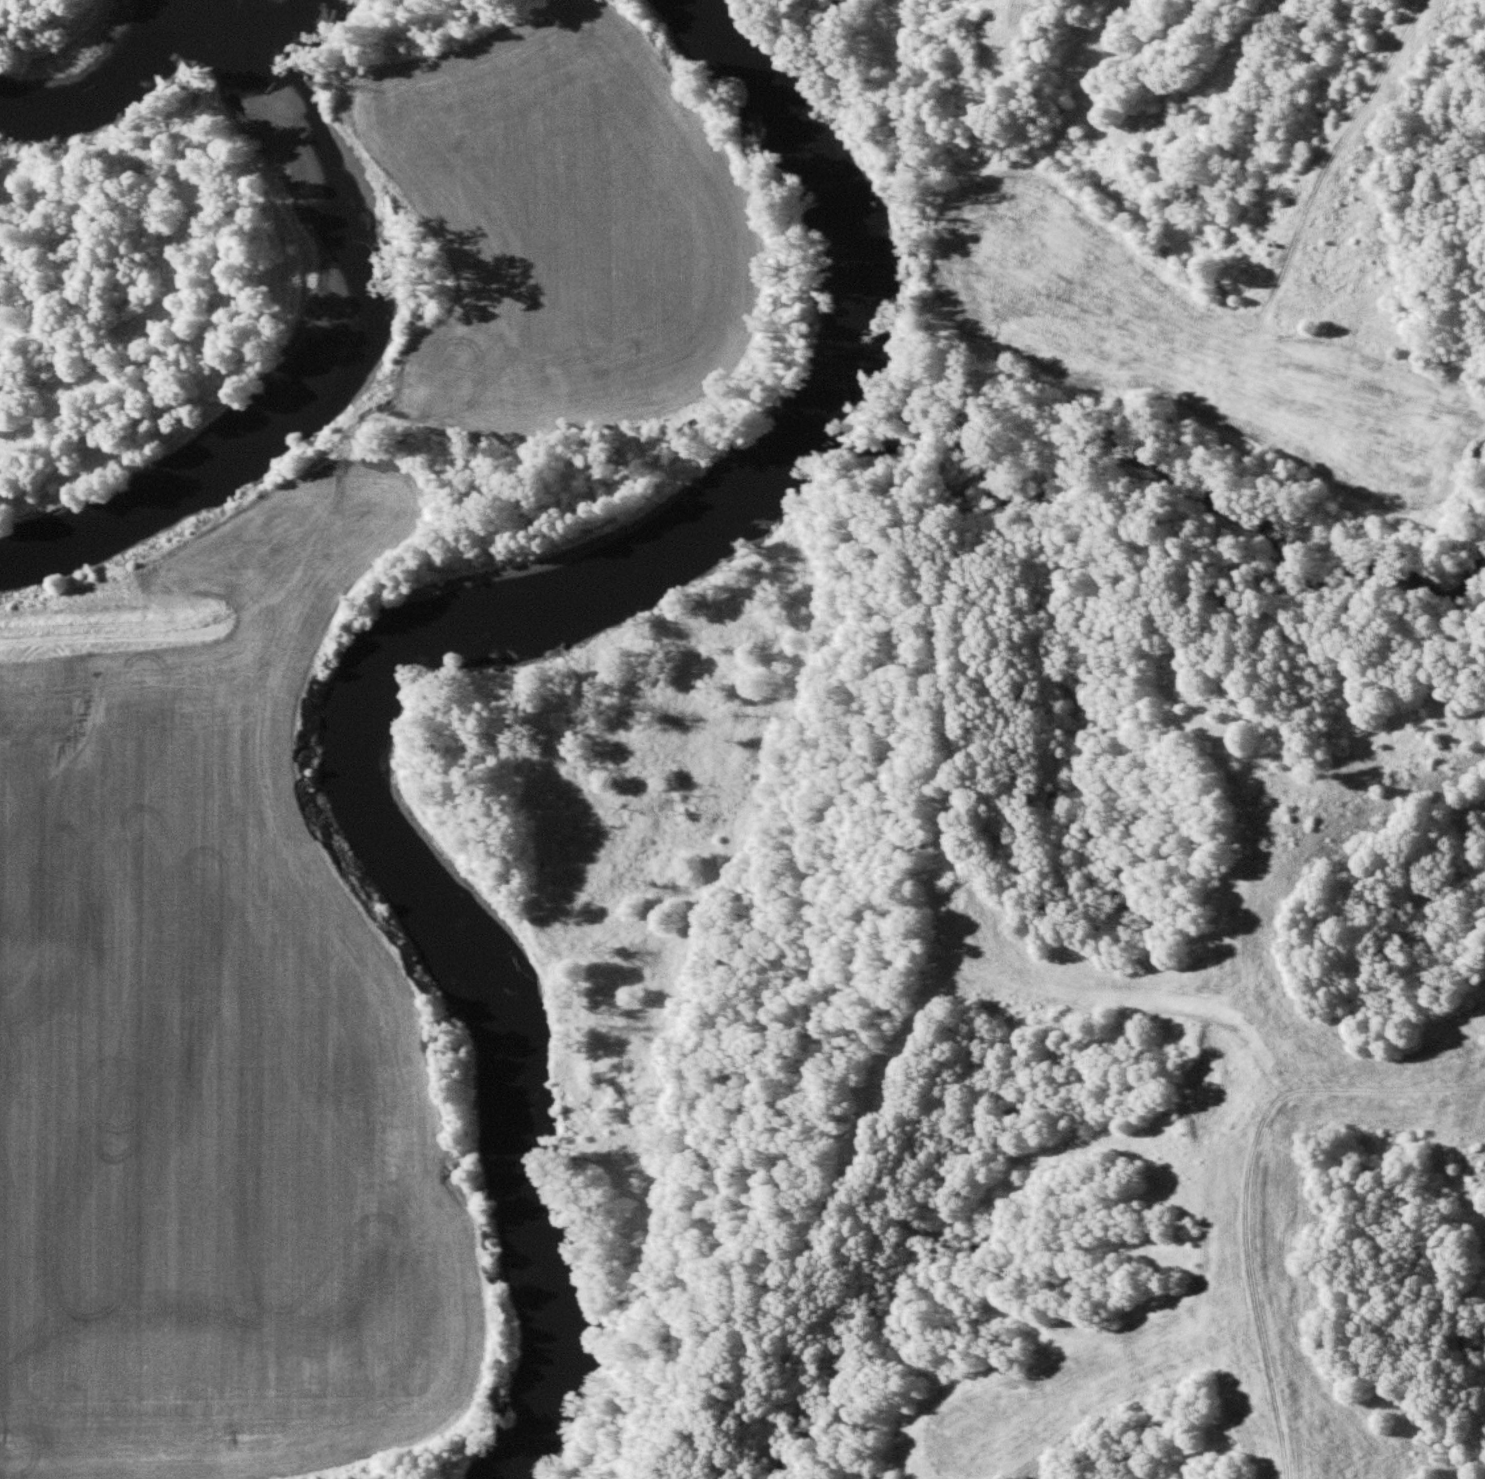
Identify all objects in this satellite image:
river: (103, 76)
river: (324, 369)
river: (425, 623)

